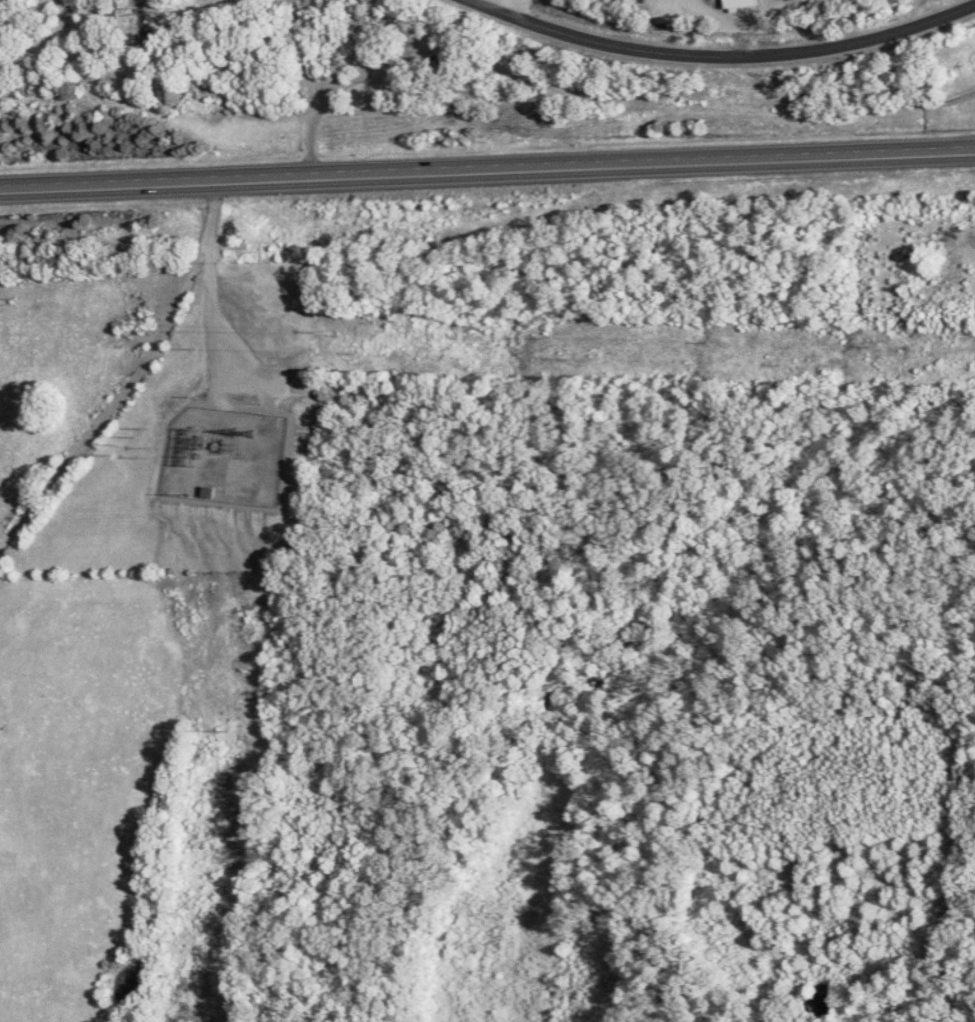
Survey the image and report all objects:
building: (745, 3)
road: (513, 6)
road: (719, 15)
road: (722, 55)
road: (487, 167)

